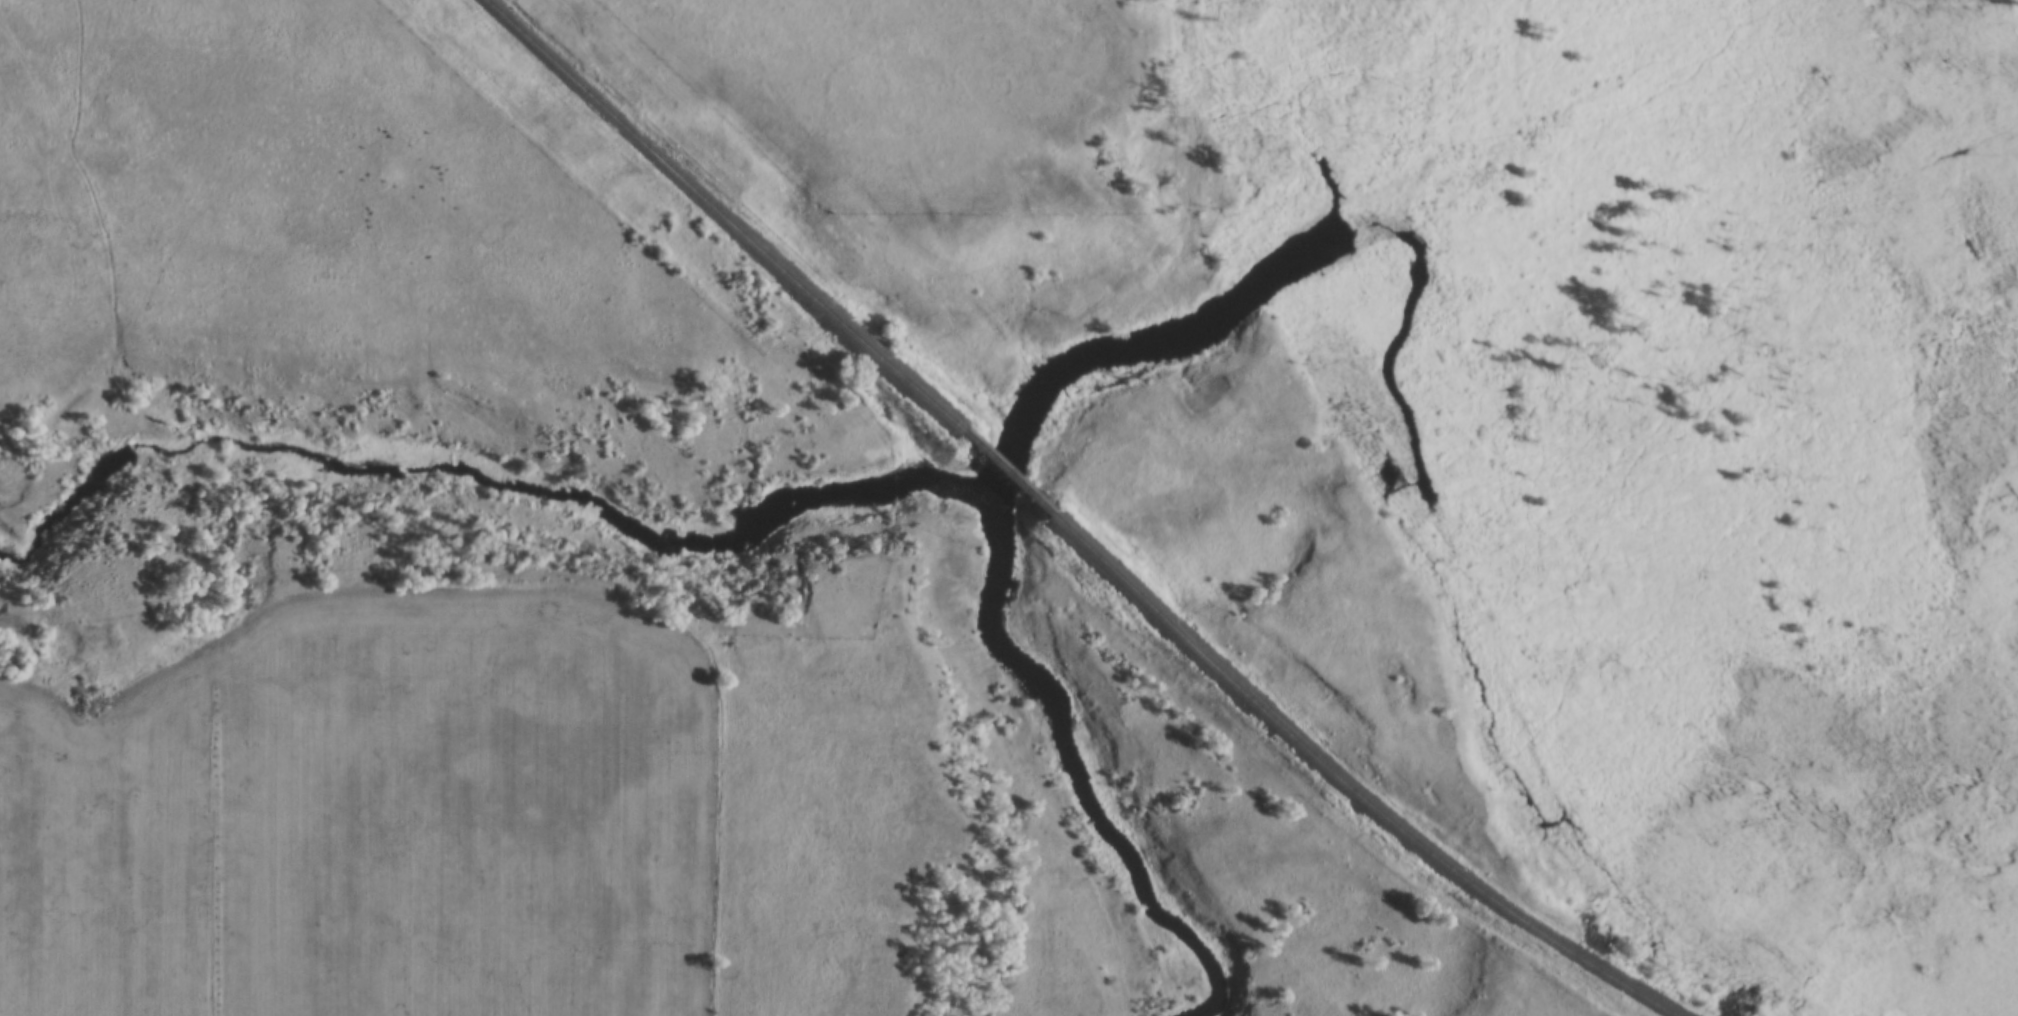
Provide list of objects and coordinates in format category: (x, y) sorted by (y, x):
park: (938, 97)
railway: (731, 215)
railway: (1002, 472)
railway: (1347, 785)

